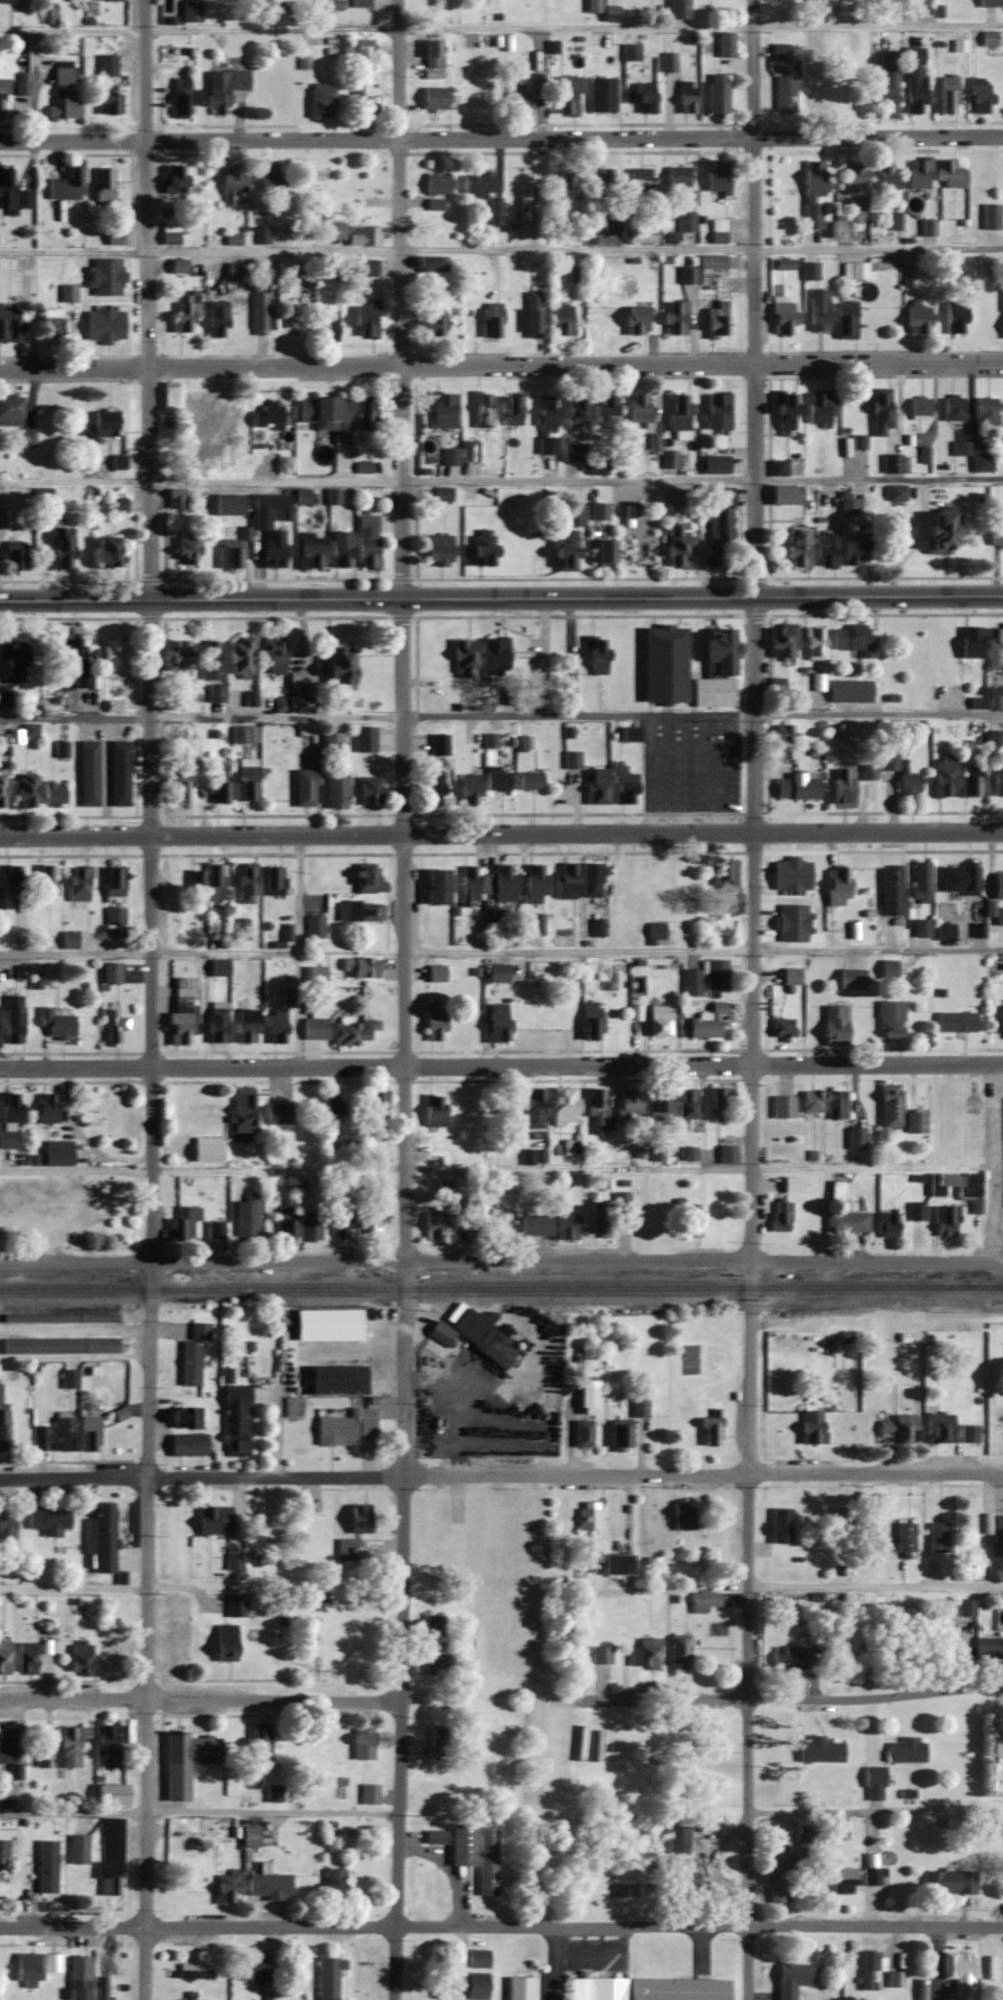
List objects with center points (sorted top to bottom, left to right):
building: (5, 1)
building: (361, 3)
building: (989, 3)
building: (593, 6)
building: (678, 9)
building: (190, 11)
building: (610, 14)
building: (49, 16)
road: (501, 25)
building: (989, 38)
building: (725, 44)
building: (71, 45)
building: (780, 51)
building: (632, 52)
building: (433, 54)
building: (364, 55)
building: (668, 62)
building: (107, 65)
building: (815, 82)
building: (914, 82)
building: (21, 84)
building: (887, 87)
building: (223, 89)
building: (63, 93)
building: (717, 94)
building: (784, 94)
building: (948, 94)
building: (567, 95)
building: (602, 96)
building: (979, 96)
building: (181, 97)
building: (365, 98)
building: (434, 98)
building: (686, 98)
building: (2, 99)
building: (646, 99)
building: (322, 100)
building: (521, 100)
building: (107, 102)
road: (501, 138)
building: (919, 173)
building: (886, 175)
building: (951, 175)
building: (718, 177)
building: (854, 177)
building: (173, 179)
building: (271, 179)
building: (567, 180)
building: (602, 180)
building: (477, 182)
building: (231, 183)
building: (437, 184)
building: (680, 184)
building: (65, 185)
building: (103, 185)
building: (639, 186)
building: (813, 193)
building: (12, 194)
building: (525, 203)
building: (434, 204)
building: (495, 211)
building: (991, 217)
building: (611, 223)
building: (928, 227)
building: (335, 232)
building: (170, 233)
building: (640, 233)
building: (260, 235)
building: (362, 236)
building: (237, 240)
road: (501, 248)
building: (431, 264)
building: (178, 266)
building: (359, 267)
building: (712, 268)
building: (810, 270)
building: (854, 270)
building: (237, 271)
building: (68, 293)
road: (756, 298)
road: (401, 299)
road: (148, 300)
building: (259, 310)
building: (818, 310)
building: (185, 313)
building: (532, 314)
building: (675, 317)
building: (955, 317)
building: (783, 318)
building: (217, 319)
building: (561, 319)
building: (918, 319)
building: (490, 320)
building: (716, 320)
building: (846, 320)
building: (366, 321)
building: (51, 323)
building: (9, 324)
building: (637, 324)
building: (607, 325)
building: (326, 326)
building: (431, 326)
building: (117, 332)
road: (501, 363)
building: (168, 397)
building: (954, 407)
building: (221, 408)
building: (920, 408)
building: (193, 409)
building: (640, 409)
building: (821, 409)
building: (11, 410)
building: (481, 410)
building: (785, 410)
building: (442, 411)
building: (512, 411)
building: (717, 411)
building: (881, 411)
building: (575, 412)
building: (604, 412)
building: (364, 413)
building: (987, 413)
building: (326, 416)
building: (267, 417)
building: (678, 417)
building: (105, 423)
building: (546, 426)
building: (26, 438)
building: (470, 451)
building: (571, 453)
building: (450, 456)
building: (671, 460)
building: (118, 462)
building: (982, 462)
building: (892, 464)
building: (716, 465)
building: (778, 468)
road: (576, 478)
road: (75, 480)
building: (785, 495)
building: (895, 495)
building: (229, 504)
building: (118, 506)
building: (849, 507)
building: (599, 512)
building: (574, 515)
building: (718, 528)
building: (940, 530)
building: (996, 536)
road: (917, 540)
building: (367, 542)
building: (677, 547)
building: (60, 548)
building: (482, 548)
building: (273, 549)
building: (340, 550)
building: (640, 550)
building: (824, 550)
building: (855, 550)
building: (186, 551)
building: (310, 551)
building: (439, 551)
building: (565, 551)
building: (797, 551)
building: (106, 553)
building: (229, 553)
building: (604, 553)
building: (17, 556)
road: (501, 598)
building: (850, 637)
building: (784, 639)
building: (971, 641)
building: (814, 642)
building: (995, 647)
building: (495, 654)
building: (596, 654)
building: (12, 655)
building: (178, 655)
building: (241, 655)
building: (273, 655)
building: (113, 656)
building: (464, 656)
building: (211, 659)
building: (74, 661)
building: (664, 663)
building: (338, 664)
building: (716, 669)
building: (818, 680)
building: (850, 689)
building: (995, 696)
building: (292, 704)
road: (501, 712)
building: (244, 733)
building: (629, 733)
building: (784, 733)
building: (995, 737)
building: (365, 738)
building: (439, 744)
building: (61, 748)
building: (571, 759)
building: (869, 771)
building: (88, 773)
building: (119, 773)
building: (901, 773)
building: (943, 775)
building: (245, 778)
building: (307, 779)
building: (497, 779)
building: (530, 779)
building: (997, 780)
building: (968, 782)
building: (431, 784)
building: (624, 784)
building: (595, 785)
building: (796, 787)
building: (842, 787)
building: (176, 788)
building: (2, 789)
building: (24, 789)
building: (469, 789)
building: (335, 790)
building: (369, 790)
building: (220, 791)
building: (52, 794)
road: (501, 833)
building: (12, 879)
building: (45, 879)
building: (591, 879)
building: (960, 879)
building: (274, 880)
building: (568, 880)
building: (368, 881)
building: (216, 882)
building: (246, 882)
building: (503, 882)
building: (921, 882)
building: (78, 883)
building: (534, 883)
building: (114, 884)
building: (798, 884)
building: (468, 885)
building: (837, 885)
building: (998, 885)
building: (196, 886)
building: (436, 886)
building: (727, 886)
building: (891, 890)
building: (176, 891)
building: (360, 911)
building: (114, 915)
building: (999, 915)
building: (315, 926)
building: (922, 927)
building: (945, 931)
road: (296, 950)
road: (148, 951)
road: (578, 951)
road: (877, 951)
building: (219, 967)
building: (360, 967)
building: (111, 972)
building: (436, 973)
building: (716, 974)
building: (791, 975)
building: (851, 978)
building: (181, 1010)
building: (13, 1018)
building: (890, 1018)
building: (1002, 1019)
building: (590, 1020)
building: (216, 1021)
building: (498, 1021)
building: (709, 1021)
building: (956, 1021)
building: (529, 1022)
building: (67, 1023)
building: (659, 1023)
building: (246, 1024)
building: (435, 1024)
building: (834, 1024)
building: (114, 1026)
building: (275, 1026)
building: (315, 1028)
building: (783, 1028)
building: (351, 1032)
road: (501, 1065)
building: (721, 1095)
building: (811, 1100)
building: (376, 1102)
building: (563, 1103)
building: (628, 1103)
building: (687, 1103)
building: (835, 1103)
building: (659, 1105)
building: (782, 1105)
building: (891, 1105)
building: (10, 1106)
building: (46, 1107)
building: (533, 1107)
building: (244, 1108)
building: (434, 1110)
building: (278, 1113)
building: (598, 1113)
building: (331, 1121)
building: (913, 1121)
building: (9, 1138)
building: (856, 1138)
building: (206, 1149)
building: (57, 1152)
building: (726, 1153)
building: (657, 1154)
road: (994, 1162)
road: (376, 1168)
road: (873, 1170)
building: (360, 1181)
building: (793, 1183)
building: (838, 1189)
building: (916, 1211)
building: (607, 1212)
building: (781, 1215)
building: (472, 1218)
building: (691, 1219)
building: (368, 1220)
building: (945, 1220)
building: (846, 1222)
building: (184, 1223)
building: (241, 1224)
building: (285, 1224)
building: (888, 1224)
building: (434, 1225)
building: (535, 1225)
building: (565, 1225)
building: (308, 1228)
building: (340, 1228)
building: (215, 1229)
building: (72, 1232)
building: (500, 1232)
road: (501, 1259)
railway: (984, 1284)
railway: (501, 1287)
road: (751, 1298)
road: (407, 1299)
road: (152, 1300)
road: (75, 1327)
building: (475, 1333)
building: (909, 1337)
building: (59, 1344)
road: (76, 1353)
building: (192, 1354)
building: (69, 1378)
building: (336, 1379)
building: (587, 1399)
building: (639, 1407)
building: (186, 1418)
building: (236, 1424)
building: (811, 1426)
building: (711, 1427)
building: (345, 1428)
building: (939, 1428)
building: (3, 1429)
building: (897, 1429)
building: (89, 1433)
building: (583, 1433)
building: (56, 1435)
building: (620, 1435)
building: (187, 1444)
road: (501, 1476)
building: (588, 1515)
building: (683, 1517)
building: (841, 1517)
building: (359, 1518)
building: (213, 1519)
building: (49, 1520)
building: (780, 1525)
building: (7, 1526)
building: (101, 1537)
building: (905, 1537)
building: (937, 1537)
building: (346, 1549)
building: (233, 1561)
building: (617, 1564)
road: (74, 1587)
road: (876, 1587)
building: (704, 1601)
building: (235, 1605)
building: (966, 1611)
building: (904, 1616)
building: (434, 1625)
building: (225, 1642)
building: (988, 1648)
building: (678, 1651)
building: (646, 1654)
building: (109, 1655)
building: (600, 1655)
building: (4, 1657)
building: (27, 1657)
building: (437, 1657)
building: (789, 1657)
building: (80, 1658)
road: (202, 1697)
road: (790, 1698)
building: (108, 1741)
building: (259, 1741)
building: (438, 1741)
building: (71, 1745)
building: (998, 1747)
building: (362, 1748)
building: (820, 1750)
building: (906, 1750)
building: (9, 1751)
building: (44, 1758)
building: (185, 1760)
building: (874, 1783)
building: (7, 1791)
building: (369, 1793)
road: (874, 1807)
road: (73, 1810)
road: (274, 1812)
building: (213, 1826)
building: (328, 1829)
building: (250, 1835)
building: (435, 1836)
building: (112, 1840)
building: (678, 1840)
building: (462, 1845)
building: (3, 1847)
building: (78, 1849)
building: (487, 1861)
building: (46, 1866)
building: (871, 1868)
building: (683, 1876)
building: (775, 1876)
building: (844, 1880)
building: (334, 1881)
building: (948, 1882)
building: (267, 1885)
building: (110, 1886)
building: (226, 1888)
road: (501, 1925)
building: (477, 1958)
building: (51, 1962)
building: (253, 1965)
building: (26, 1967)
building: (868, 1968)
building: (192, 1971)
building: (959, 1973)
building: (328, 1977)
building: (79, 1978)
building: (791, 1978)
building: (895, 1979)
building: (474, 1985)
building: (100, 1988)
building: (521, 1988)
building: (646, 1989)
building: (269, 1995)

